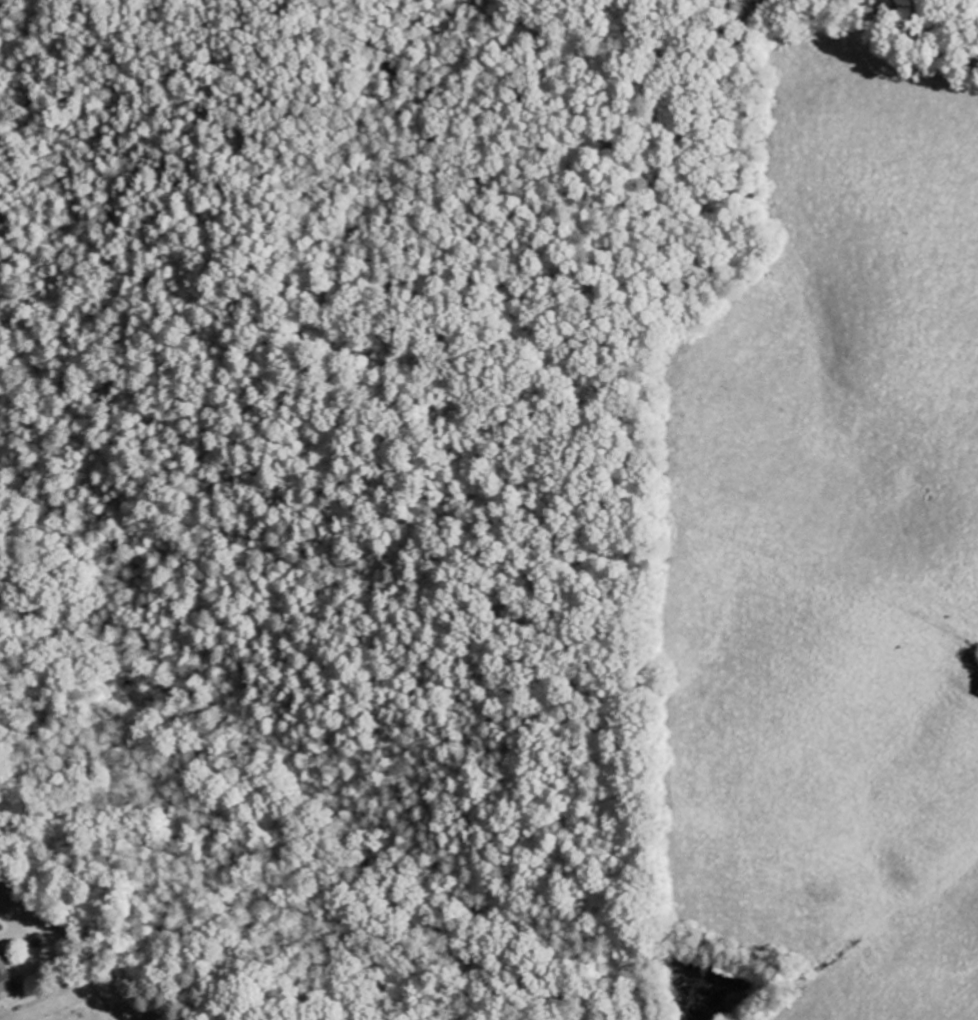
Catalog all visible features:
building: (9, 981)

